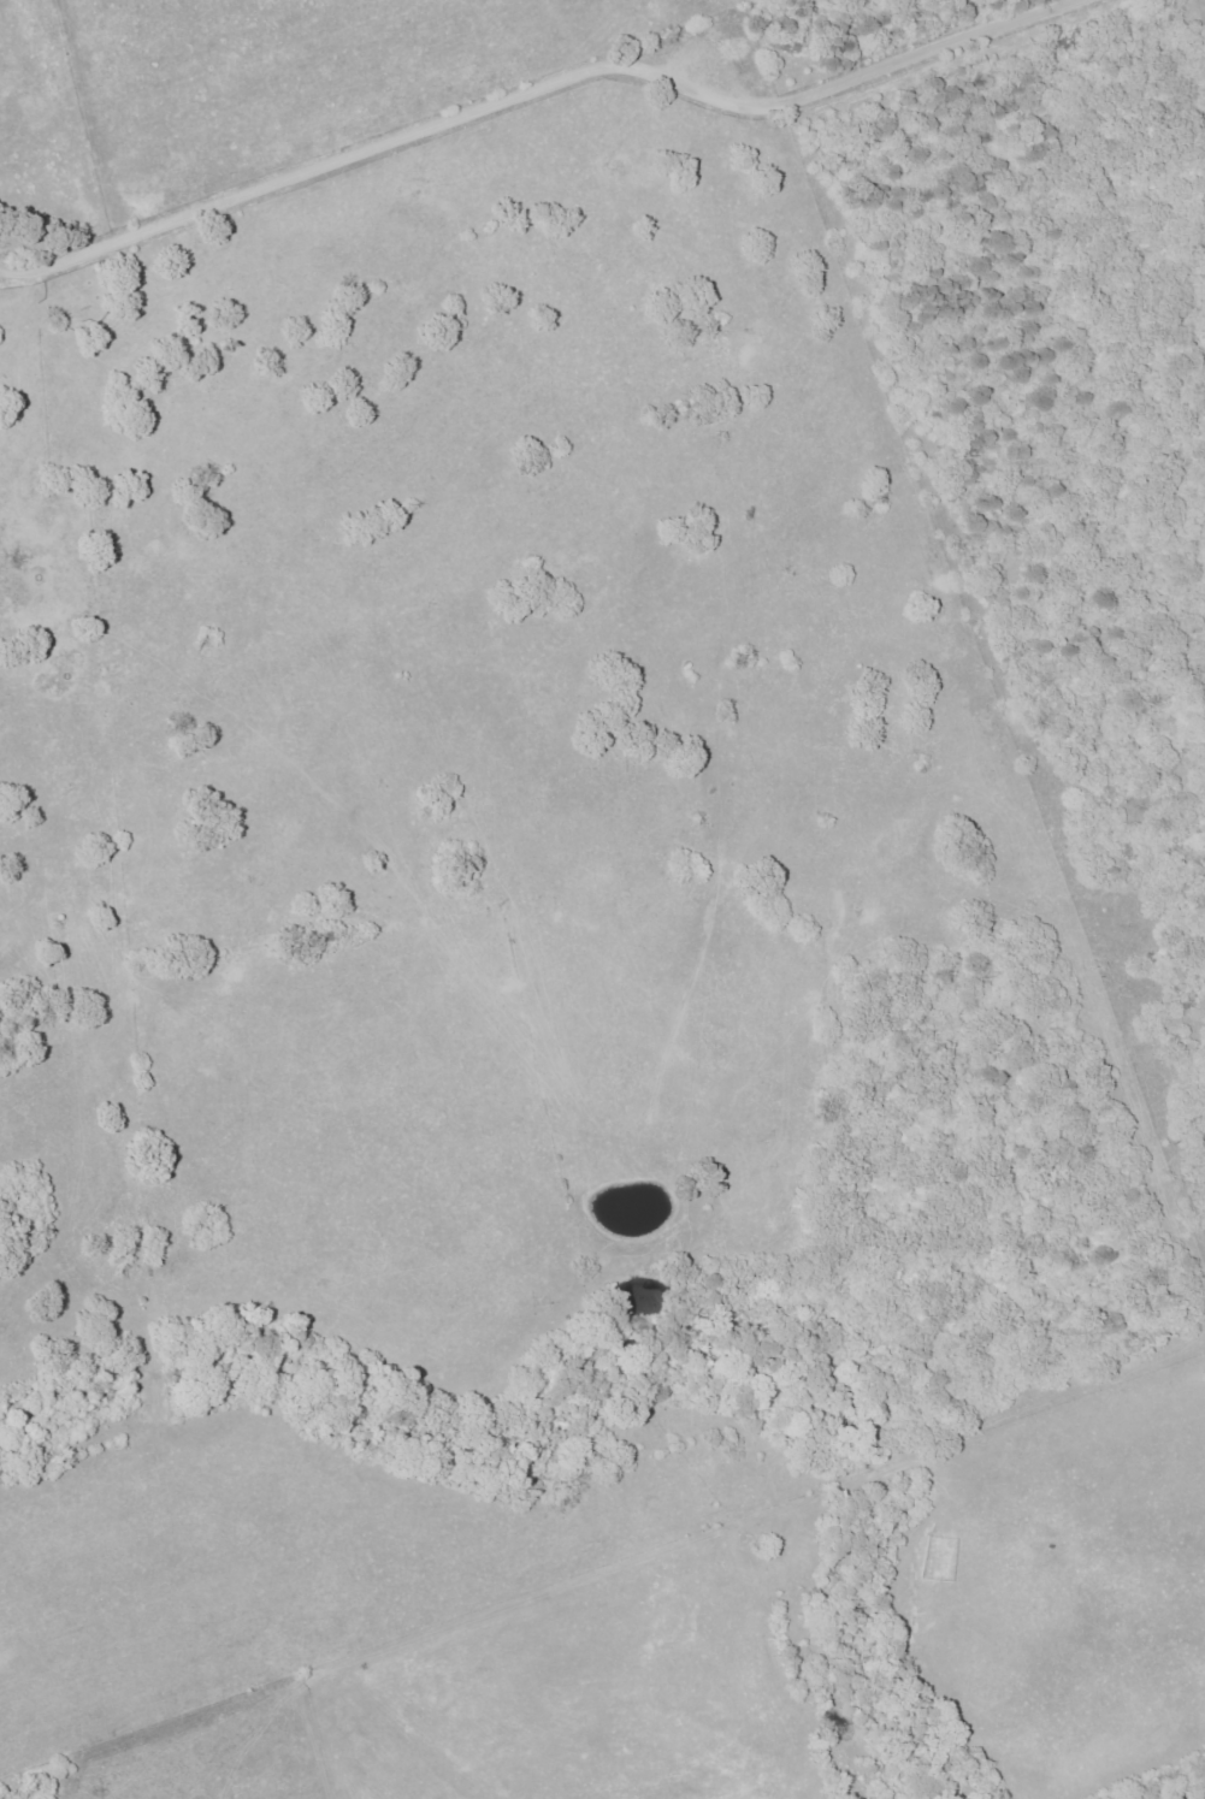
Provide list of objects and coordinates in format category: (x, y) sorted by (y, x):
road: (543, 85)
road: (1157, 155)

